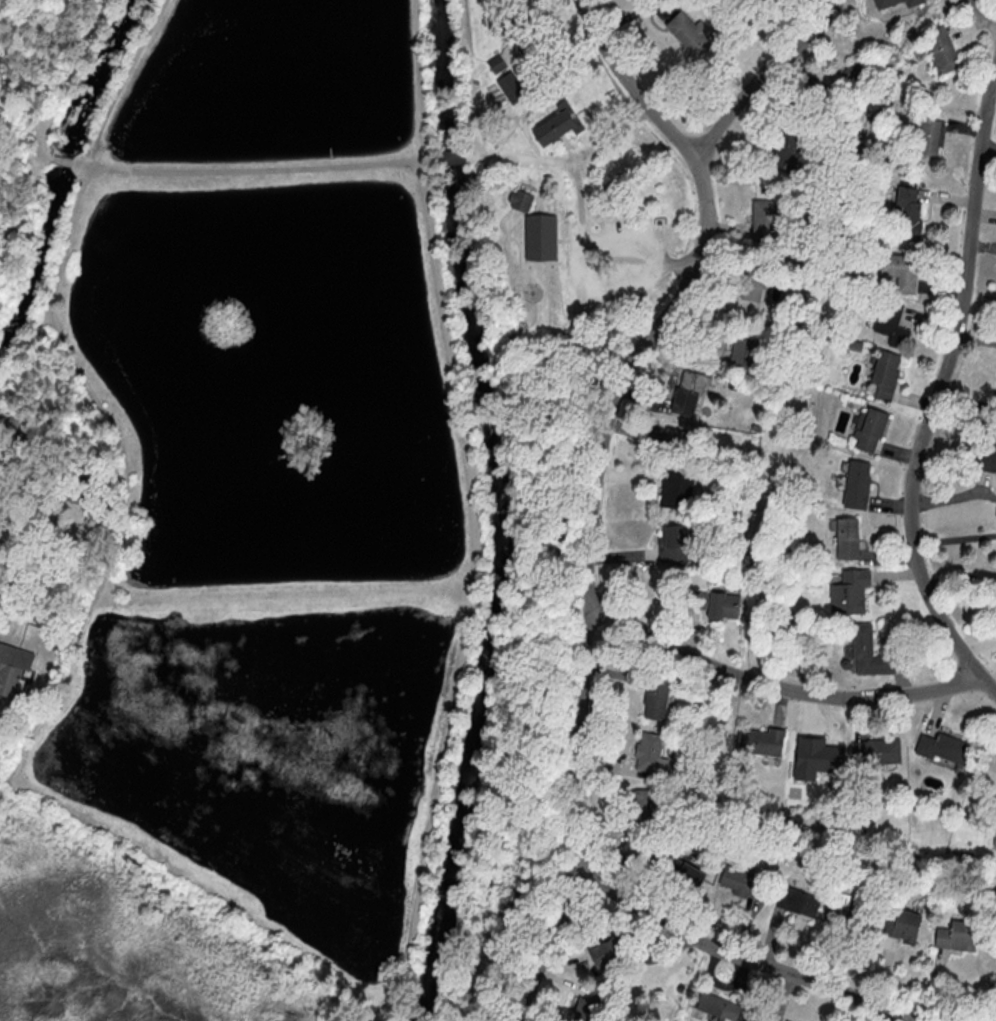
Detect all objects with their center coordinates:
building: (892, 4)
road: (982, 14)
building: (516, 28)
building: (687, 33)
building: (939, 50)
road: (78, 56)
road: (554, 58)
building: (498, 65)
building: (858, 77)
road: (762, 80)
road: (4, 81)
building: (512, 89)
building: (559, 126)
road: (40, 136)
building: (929, 137)
building: (783, 151)
road: (571, 155)
road: (449, 157)
building: (451, 157)
road: (584, 157)
road: (61, 159)
road: (568, 162)
road: (253, 171)
building: (522, 199)
building: (488, 210)
building: (904, 214)
building: (764, 219)
building: (541, 236)
road: (580, 247)
parking lot: (614, 265)
building: (898, 271)
building: (755, 277)
building: (889, 322)
building: (743, 354)
building: (884, 375)
road: (938, 396)
building: (684, 402)
road: (97, 403)
building: (994, 409)
building: (12, 430)
building: (869, 431)
building: (674, 438)
building: (986, 457)
building: (856, 485)
road: (596, 486)
building: (81, 487)
building: (676, 491)
park: (299, 492)
road: (474, 518)
road: (955, 538)
building: (846, 539)
building: (672, 544)
road: (960, 575)
building: (848, 591)
road: (285, 597)
building: (710, 604)
road: (524, 629)
building: (867, 653)
building: (11, 668)
road: (775, 686)
building: (654, 698)
building: (758, 742)
building: (945, 750)
building: (647, 752)
building: (875, 752)
building: (995, 844)
building: (684, 872)
building: (741, 880)
road: (212, 891)
building: (796, 900)
building: (853, 915)
building: (902, 924)
building: (956, 935)
building: (603, 951)
road: (739, 957)
building: (589, 1005)
building: (716, 1006)
road: (414, 1017)
road: (995, 1020)

